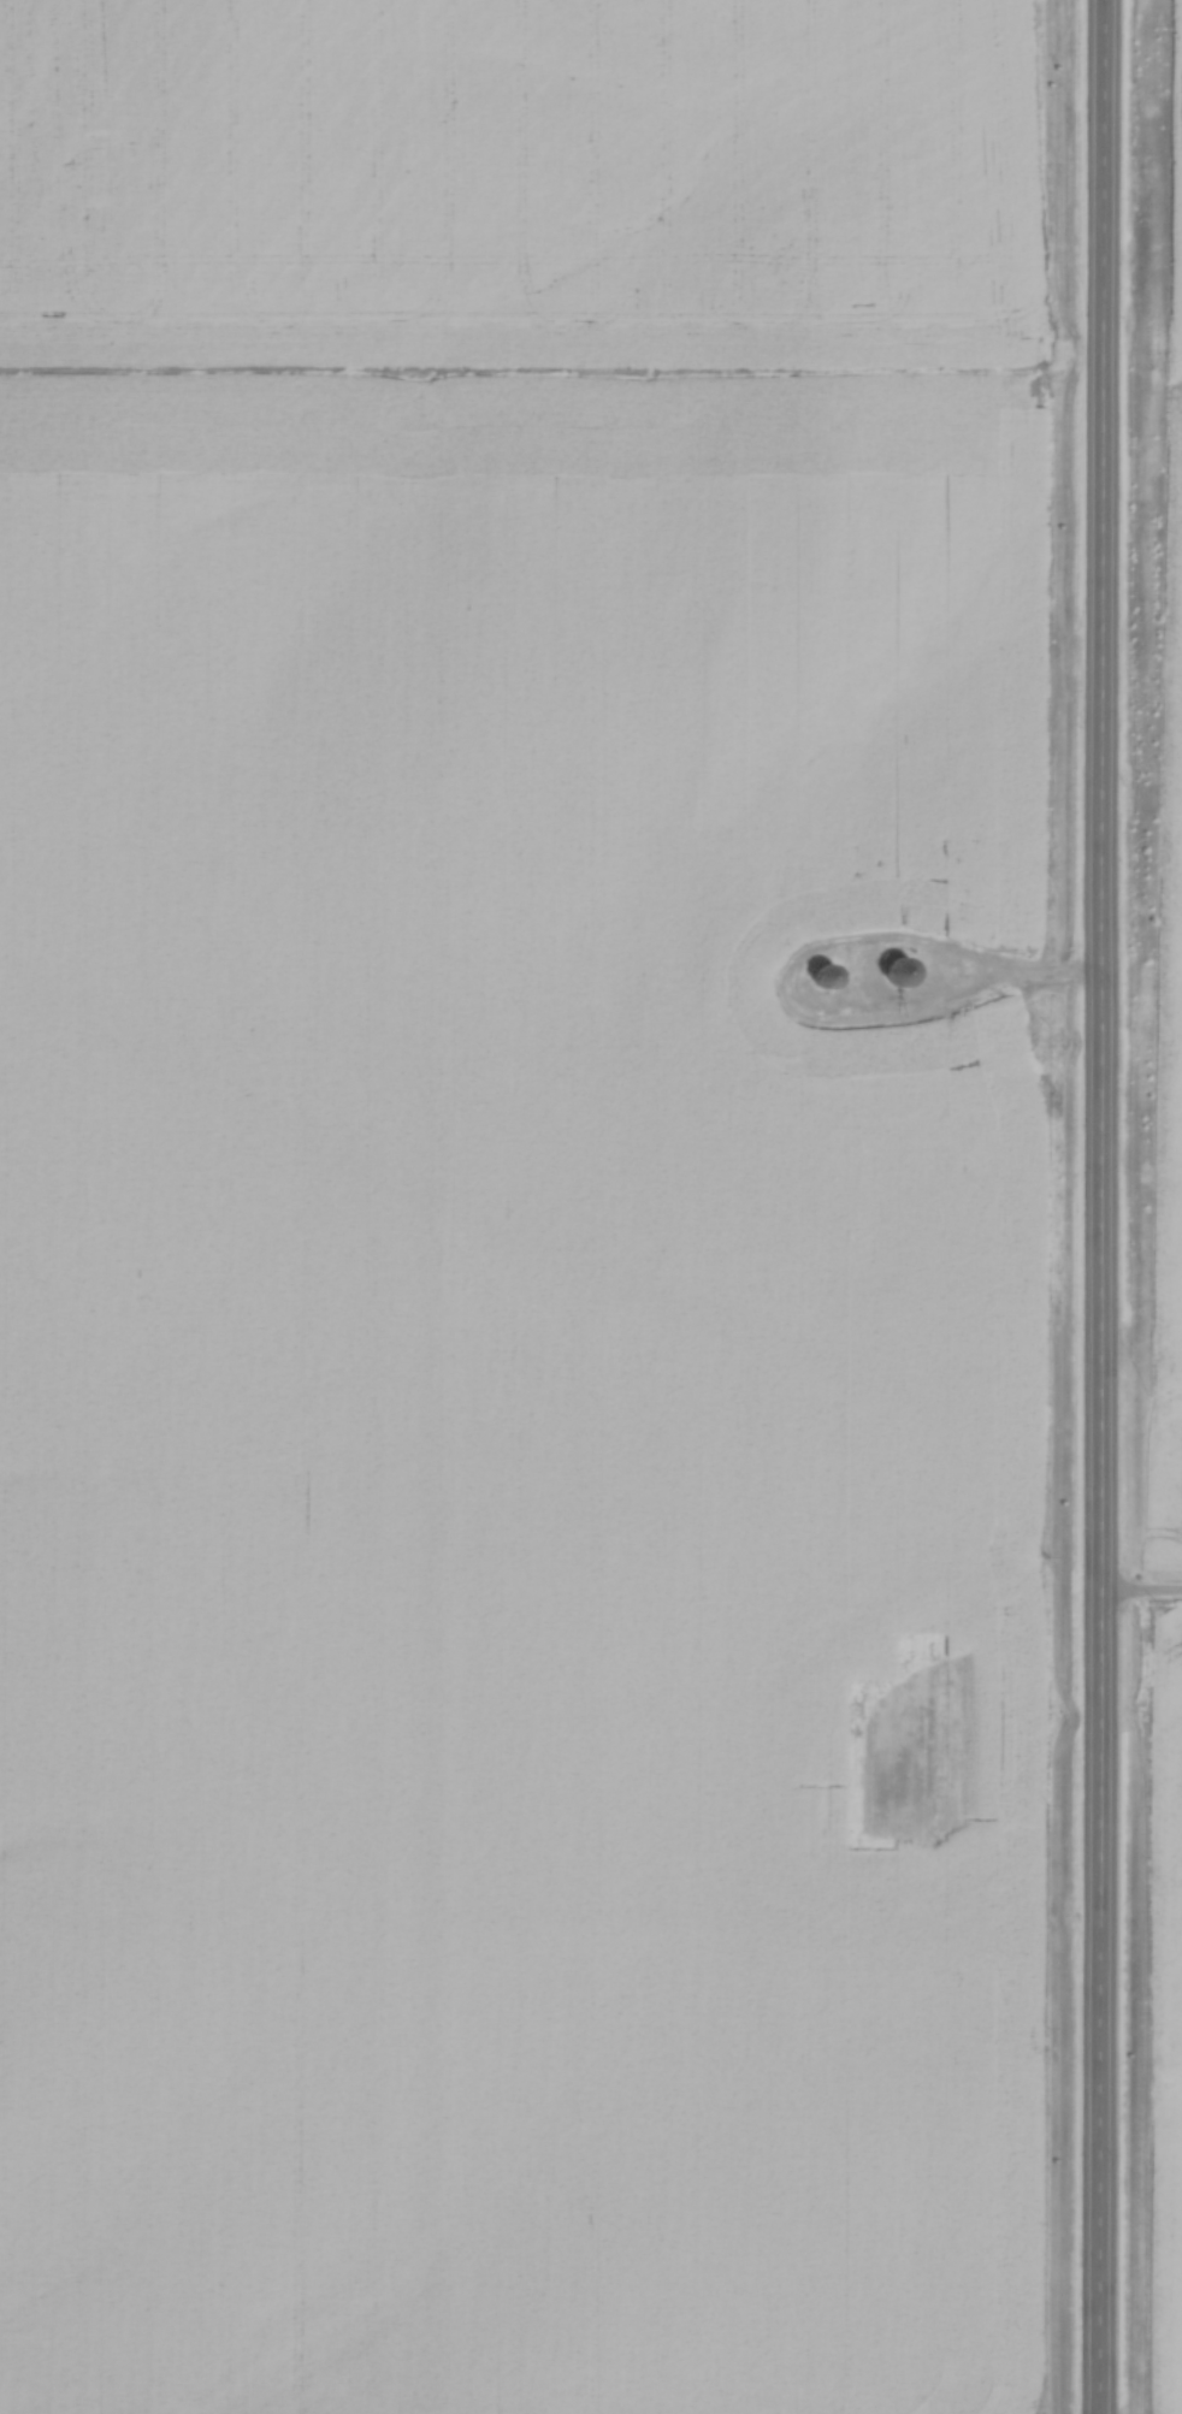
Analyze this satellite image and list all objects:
road: (1104, 1207)
road: (1142, 1593)

